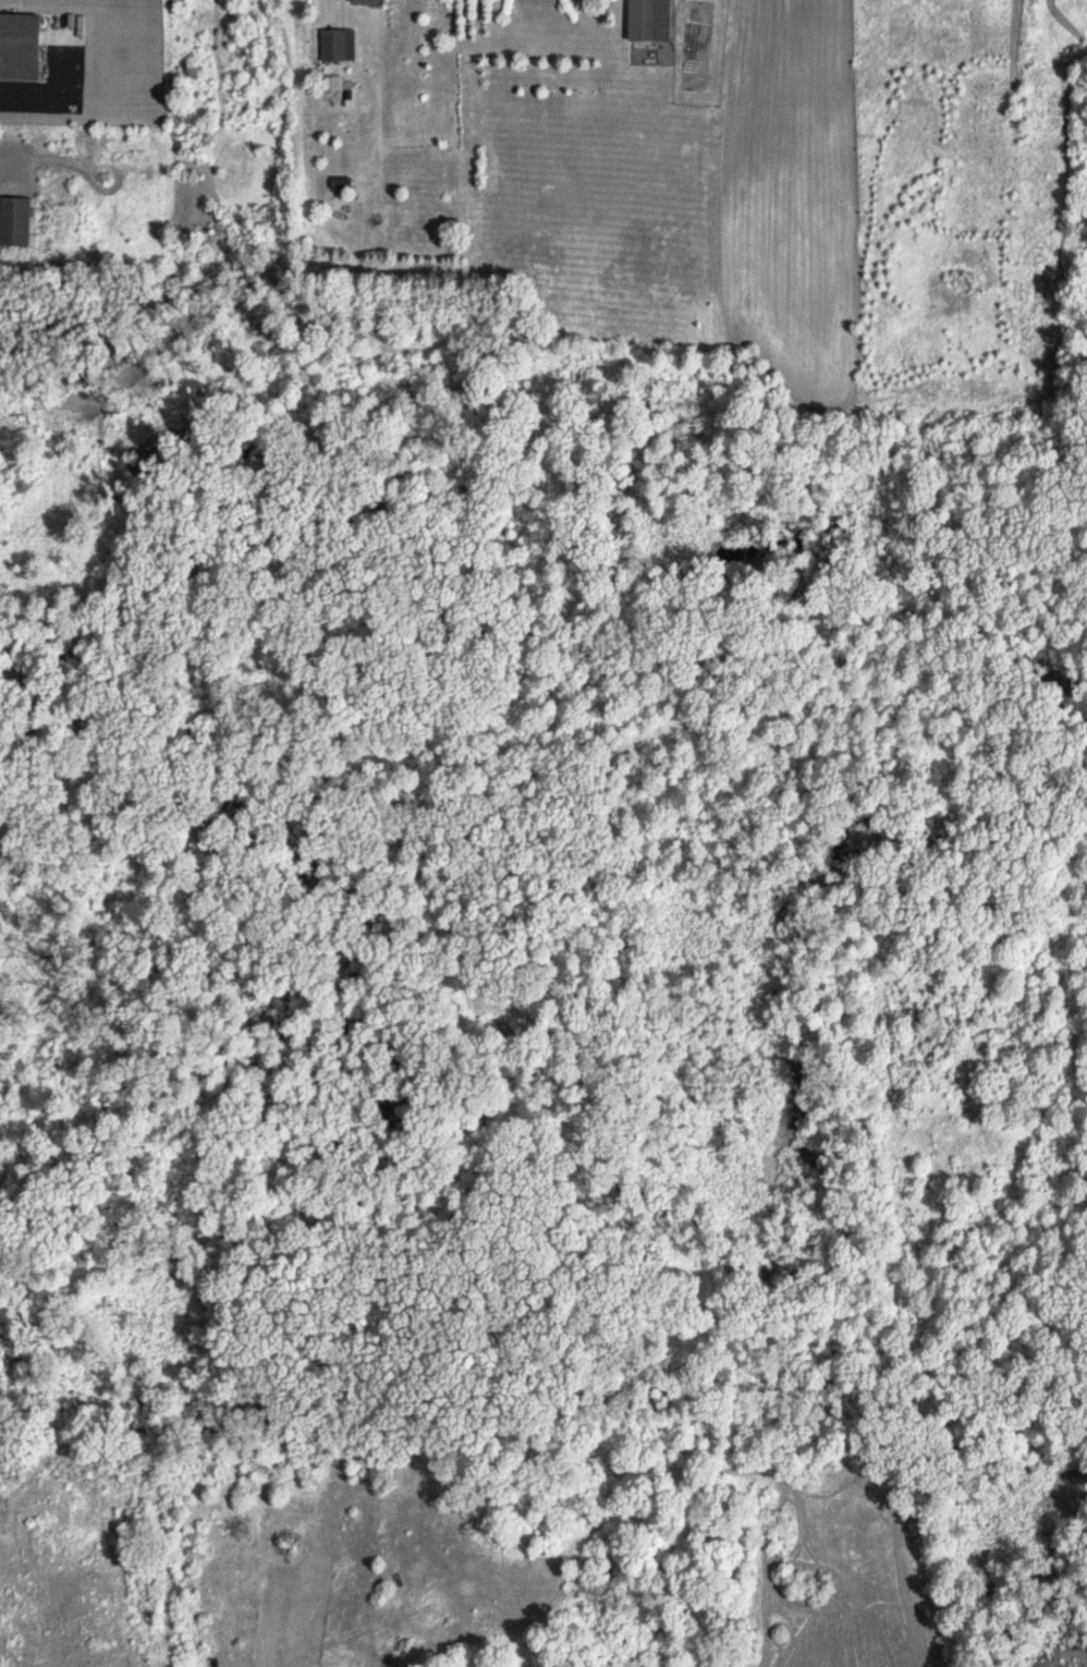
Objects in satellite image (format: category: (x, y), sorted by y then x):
building: (651, 20)
building: (339, 45)
building: (21, 46)
building: (15, 221)

